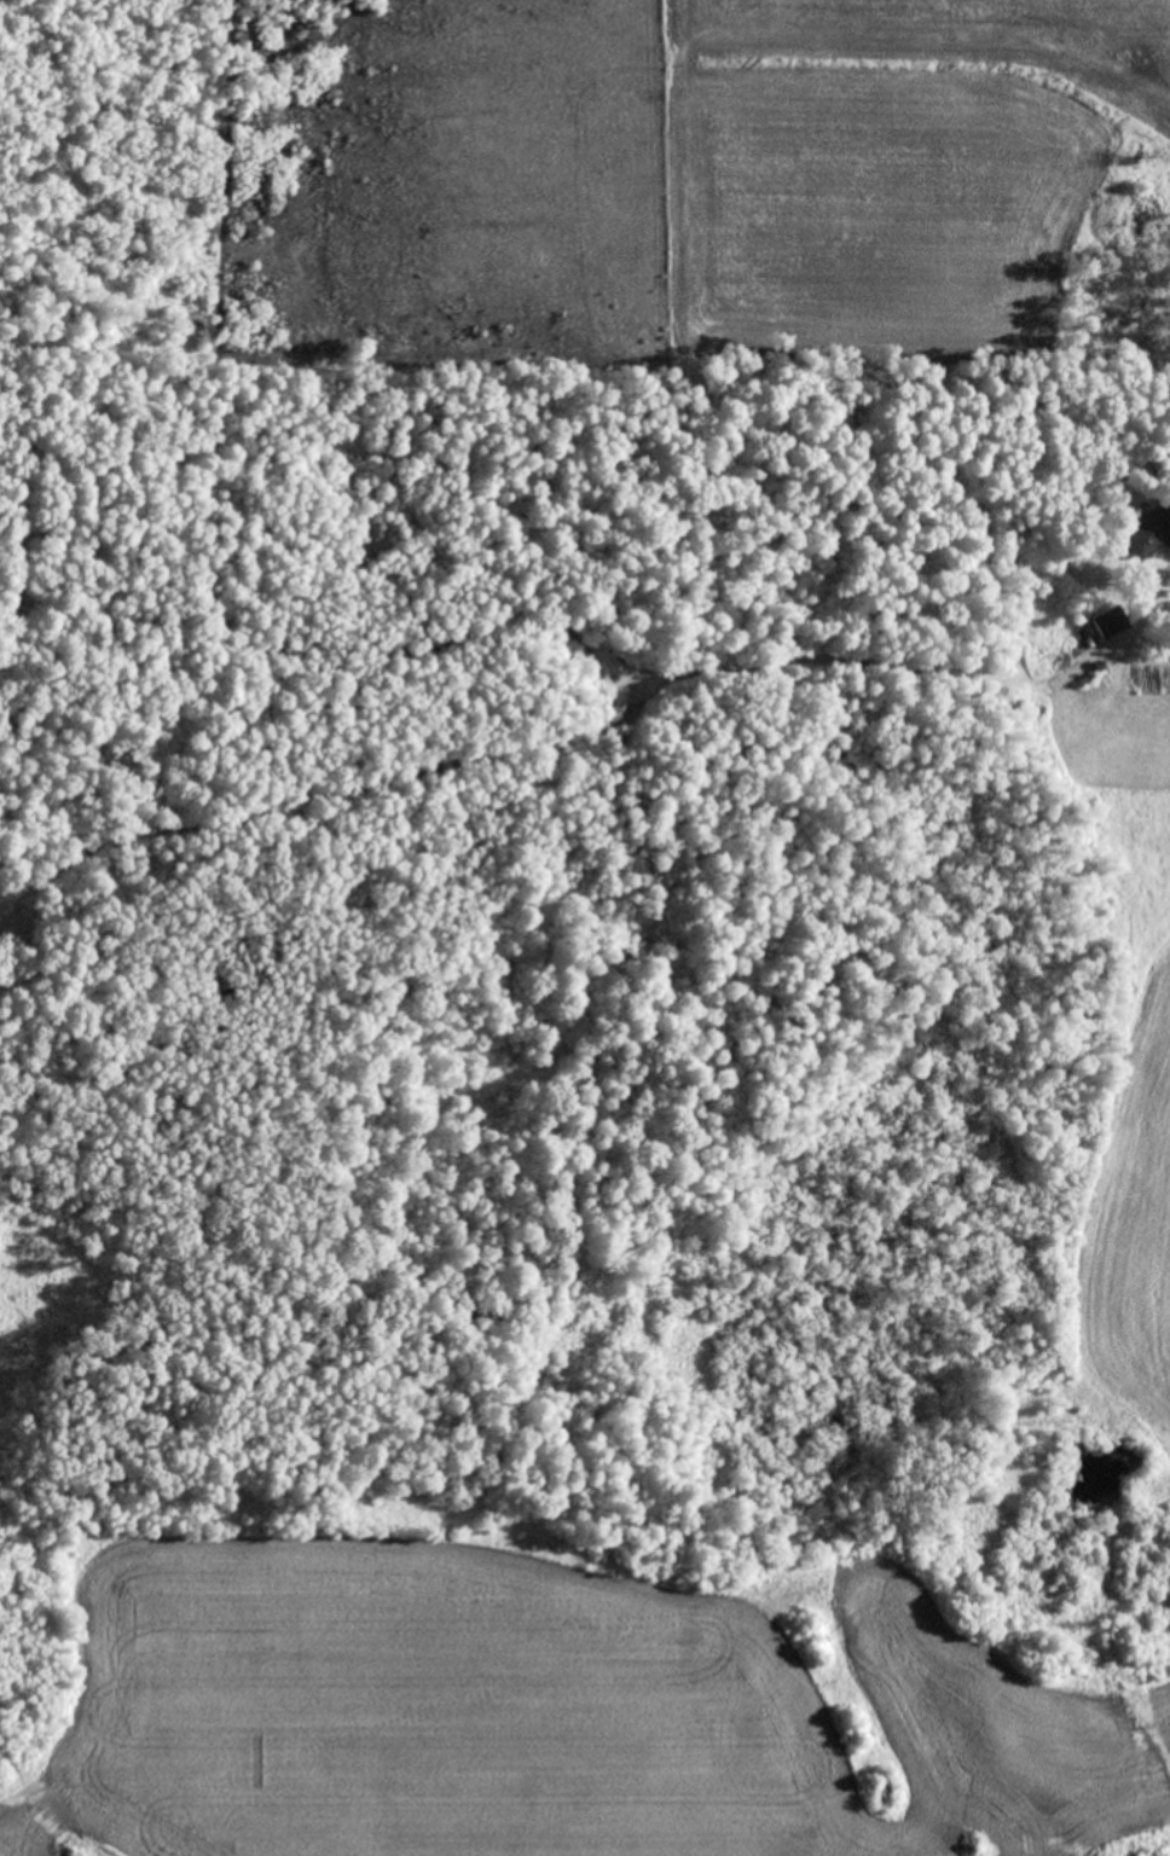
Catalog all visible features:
building: (1143, 530)
building: (1100, 626)

